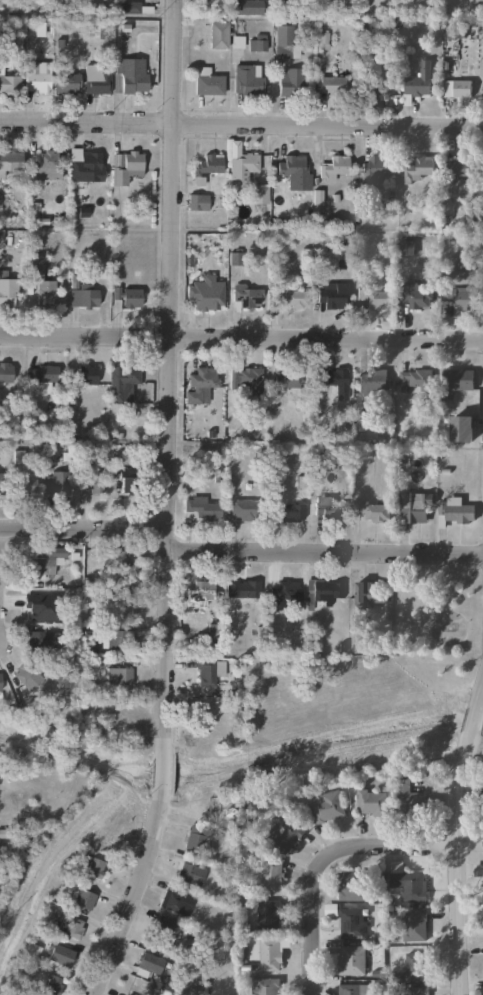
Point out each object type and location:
building: (127, 7)
building: (245, 7)
building: (218, 35)
building: (282, 41)
building: (256, 42)
building: (129, 75)
building: (36, 77)
building: (96, 78)
building: (247, 79)
building: (206, 81)
building: (290, 81)
building: (66, 82)
building: (418, 82)
building: (9, 83)
building: (330, 84)
building: (454, 88)
road: (241, 124)
building: (10, 161)
building: (243, 161)
building: (84, 164)
building: (46, 165)
building: (125, 166)
building: (206, 167)
building: (457, 167)
building: (333, 168)
building: (374, 169)
building: (418, 169)
building: (294, 172)
building: (196, 201)
building: (406, 248)
building: (35, 264)
building: (7, 291)
building: (44, 293)
building: (203, 293)
building: (412, 295)
building: (82, 296)
building: (245, 296)
building: (130, 298)
building: (331, 298)
building: (375, 298)
building: (462, 298)
building: (293, 299)
road: (241, 336)
building: (5, 373)
building: (86, 374)
building: (39, 377)
road: (168, 377)
building: (244, 377)
building: (414, 377)
building: (460, 378)
building: (286, 379)
building: (332, 380)
building: (372, 380)
building: (120, 382)
building: (200, 384)
building: (360, 422)
building: (461, 428)
building: (128, 480)
building: (56, 482)
building: (1, 484)
building: (93, 484)
building: (25, 486)
building: (325, 507)
building: (410, 508)
building: (200, 509)
building: (242, 509)
building: (371, 510)
building: (285, 511)
building: (456, 513)
road: (83, 529)
road: (324, 553)
building: (41, 562)
building: (119, 568)
building: (241, 588)
building: (201, 590)
building: (370, 592)
building: (321, 593)
building: (284, 594)
building: (38, 602)
building: (117, 606)
park: (445, 628)
building: (41, 639)
building: (117, 639)
building: (319, 643)
building: (206, 672)
building: (25, 674)
building: (118, 676)
building: (0, 683)
road: (479, 684)
road: (470, 715)
road: (84, 767)
road: (162, 773)
building: (407, 796)
building: (371, 802)
building: (326, 806)
park: (114, 817)
building: (281, 831)
building: (195, 838)
road: (323, 860)
road: (456, 861)
building: (93, 868)
building: (188, 869)
building: (478, 870)
building: (270, 877)
road: (48, 879)
building: (405, 882)
building: (350, 886)
road: (136, 896)
building: (85, 898)
building: (176, 900)
building: (266, 914)
building: (351, 923)
building: (165, 924)
building: (414, 926)
building: (73, 927)
building: (58, 953)
building: (265, 953)
building: (350, 960)
building: (147, 964)
building: (412, 967)
building: (52, 985)
building: (263, 987)
building: (352, 989)
building: (482, 989)
building: (416, 991)

